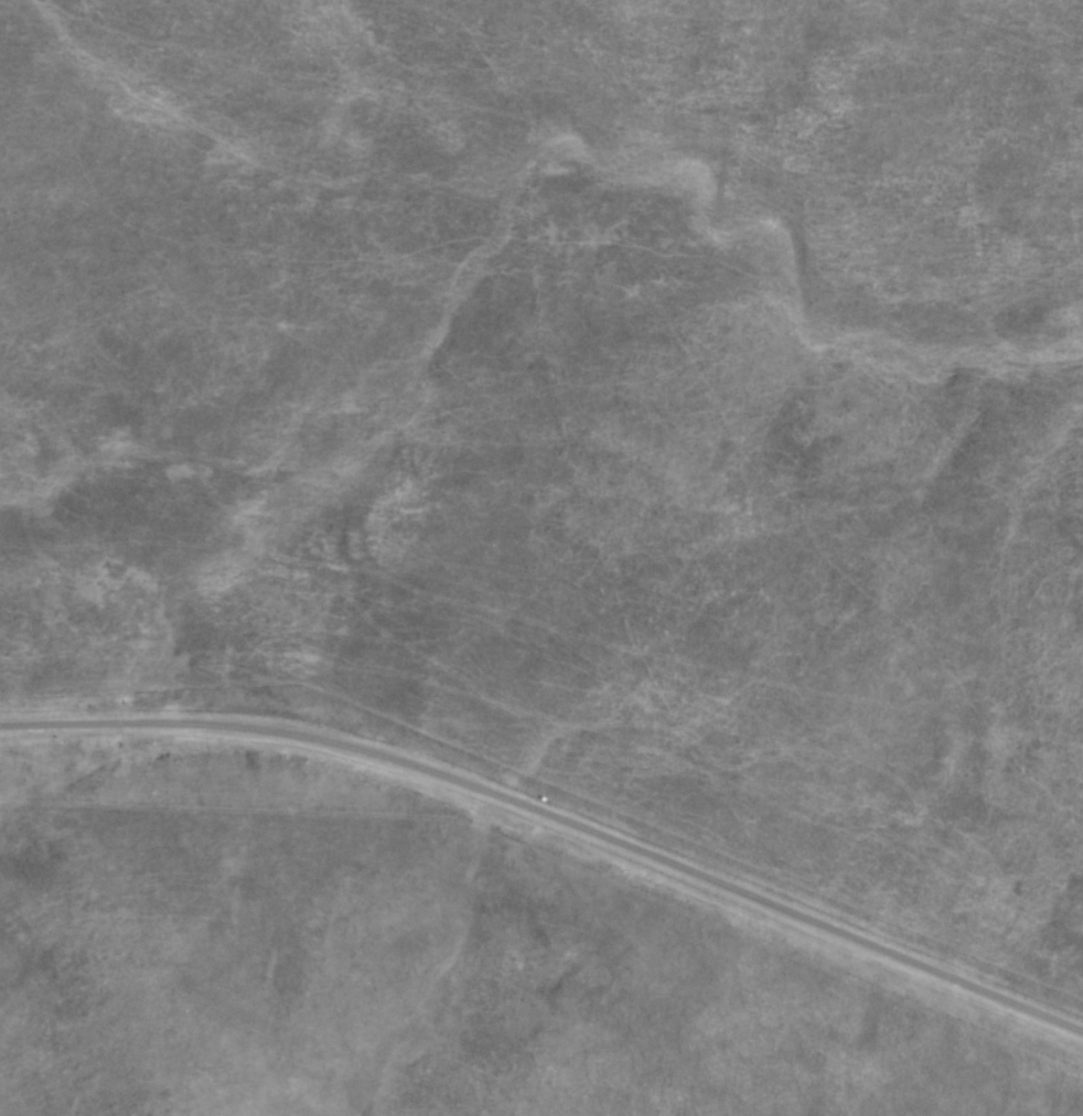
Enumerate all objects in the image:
road: (554, 822)

